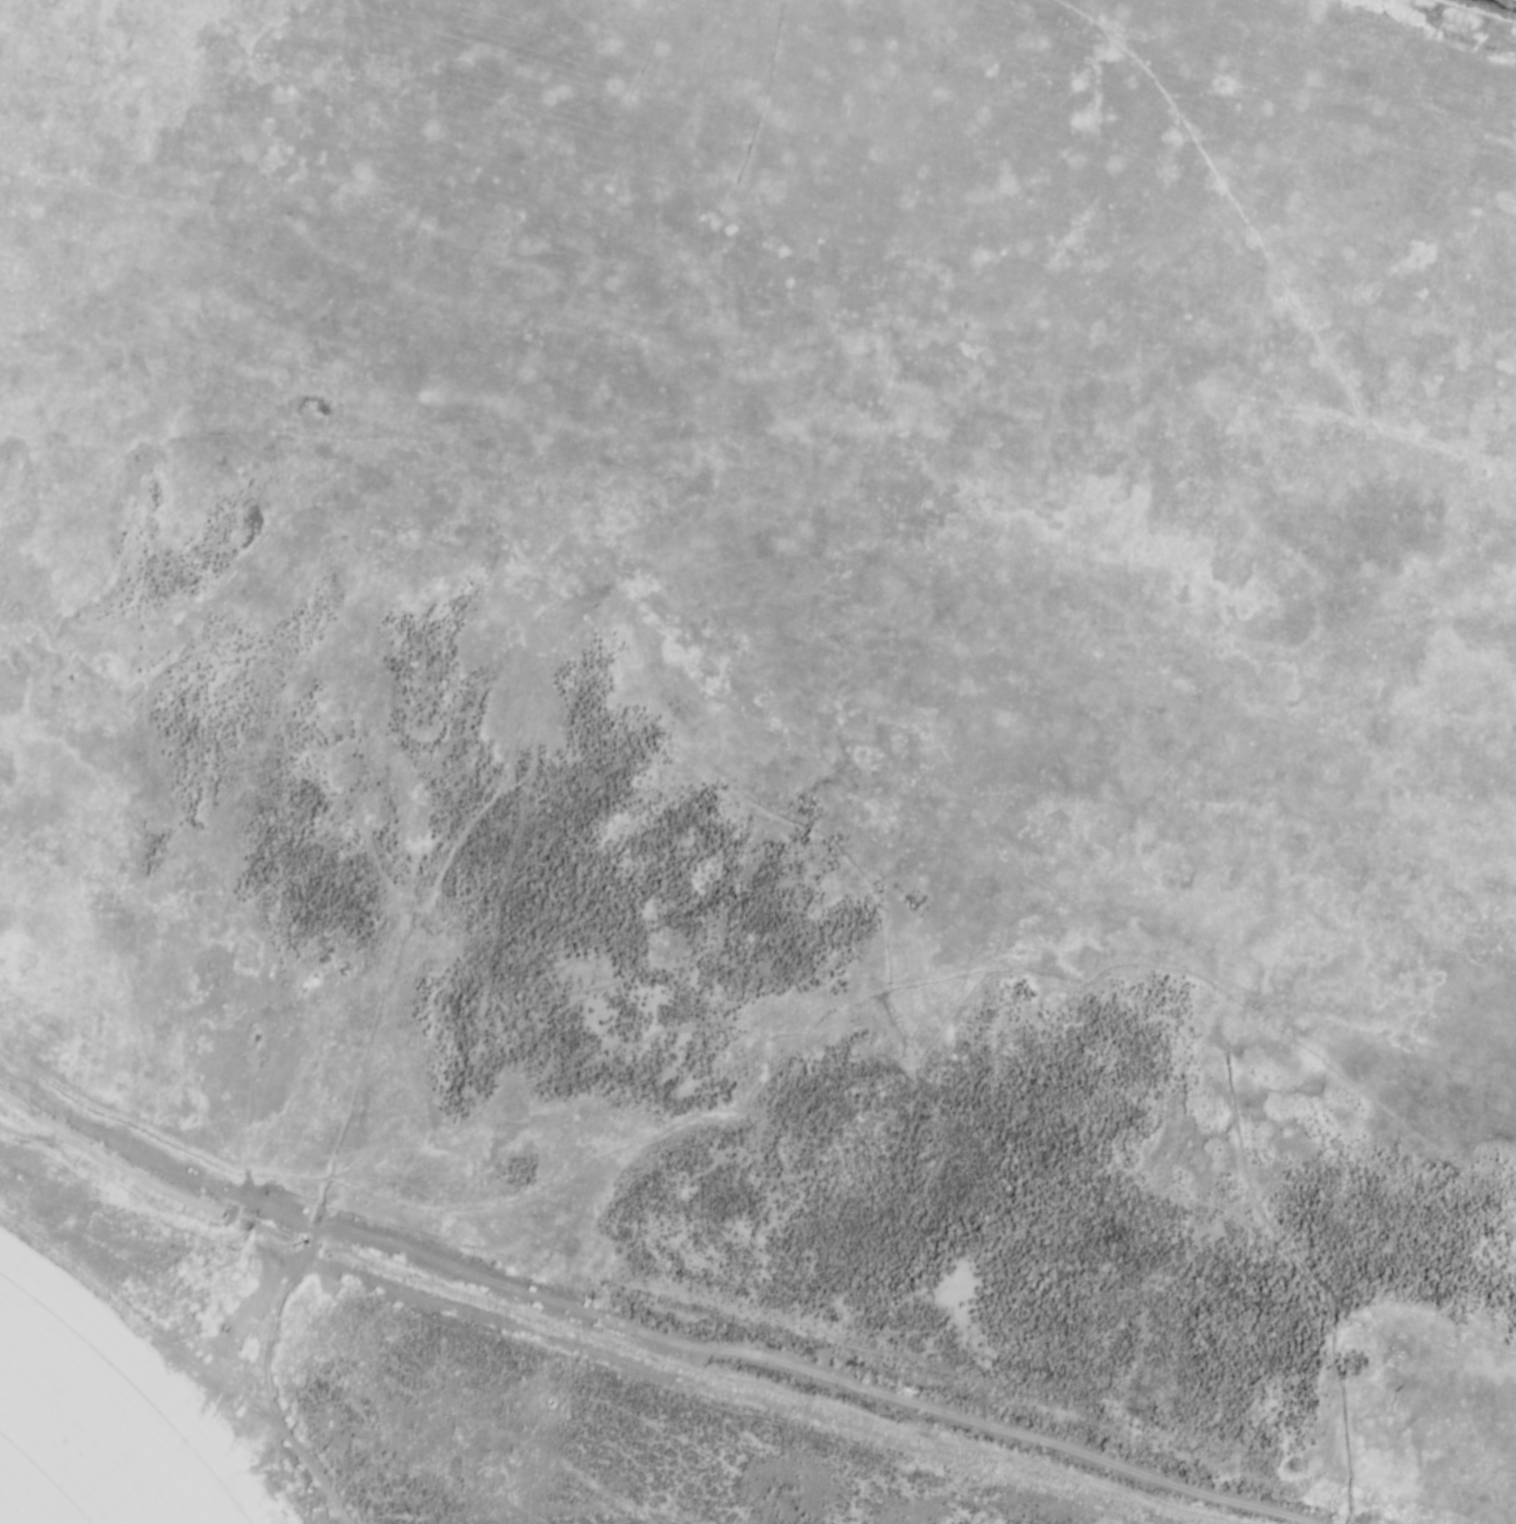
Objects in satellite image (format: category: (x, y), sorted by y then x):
crop: (94, 1424)

